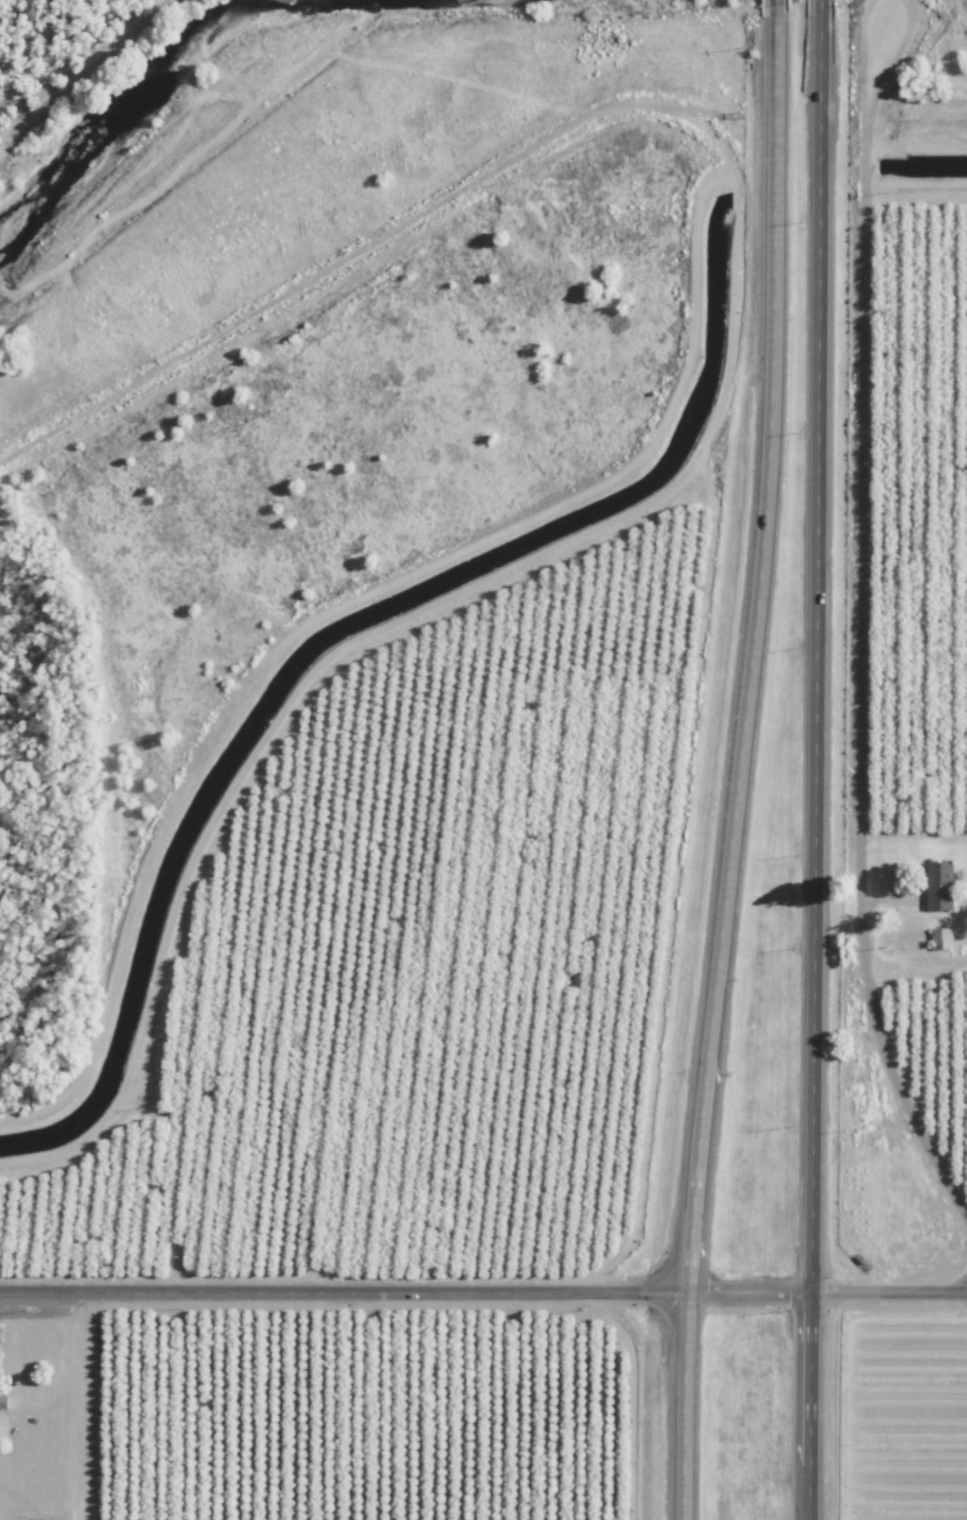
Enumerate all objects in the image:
road: (819, 3)
road: (778, 9)
crop: (54, 47)
road: (866, 54)
road: (905, 57)
river: (122, 106)
road: (736, 190)
road: (370, 244)
road: (814, 649)
road: (762, 655)
road: (869, 665)
building: (940, 884)
road: (348, 1290)
road: (755, 1291)
road: (890, 1291)
road: (9, 1340)
building: (3, 1401)
crop: (912, 1401)
road: (693, 1404)
road: (813, 1406)

